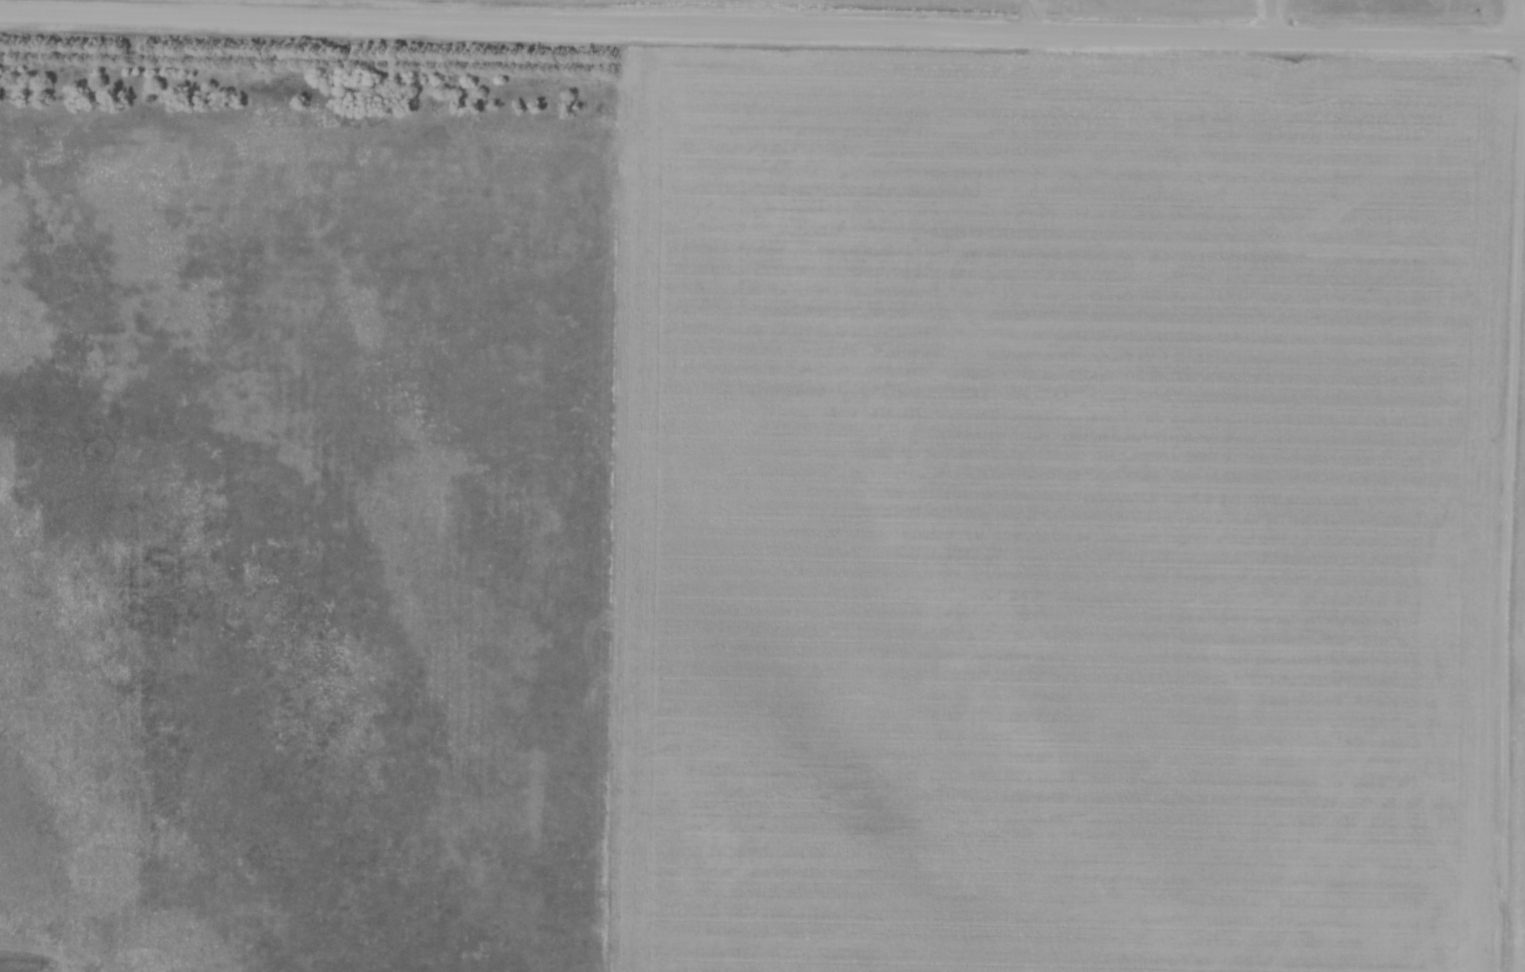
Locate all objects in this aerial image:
road: (1520, 22)
road: (762, 30)

